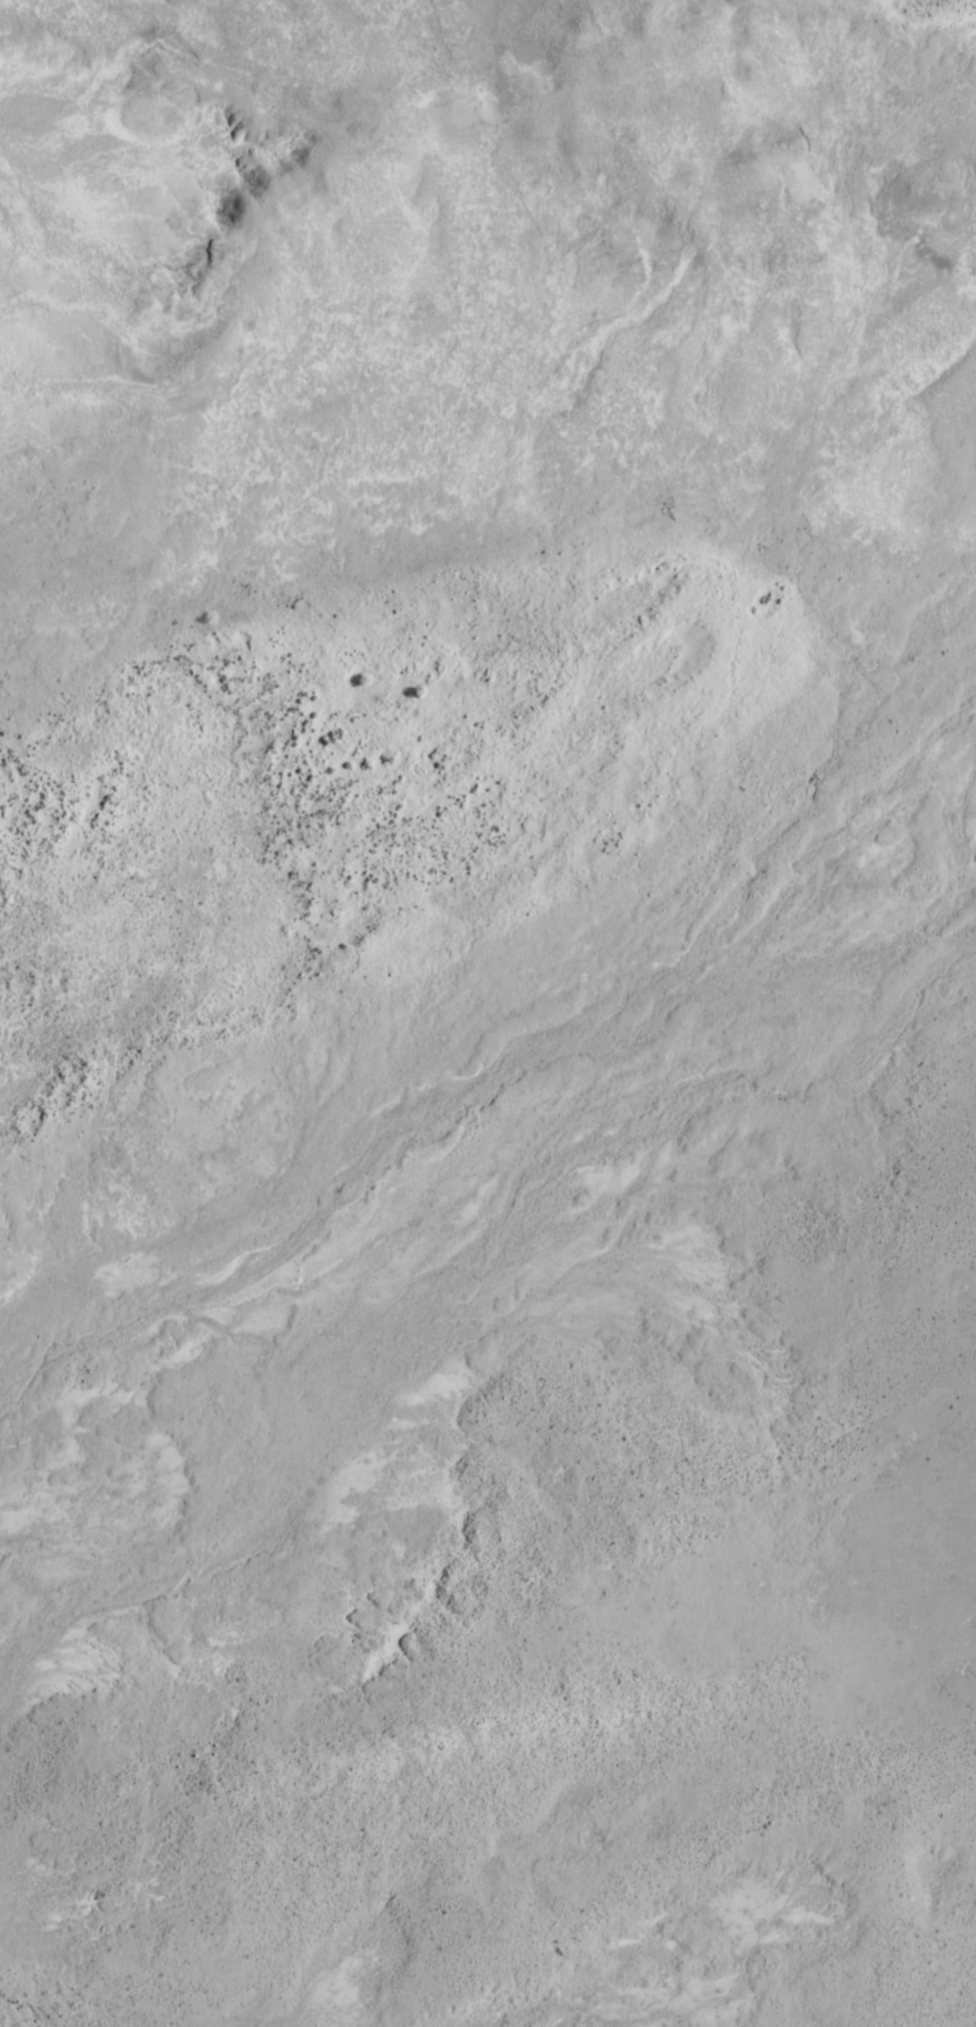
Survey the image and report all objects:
road: (840, 249)

